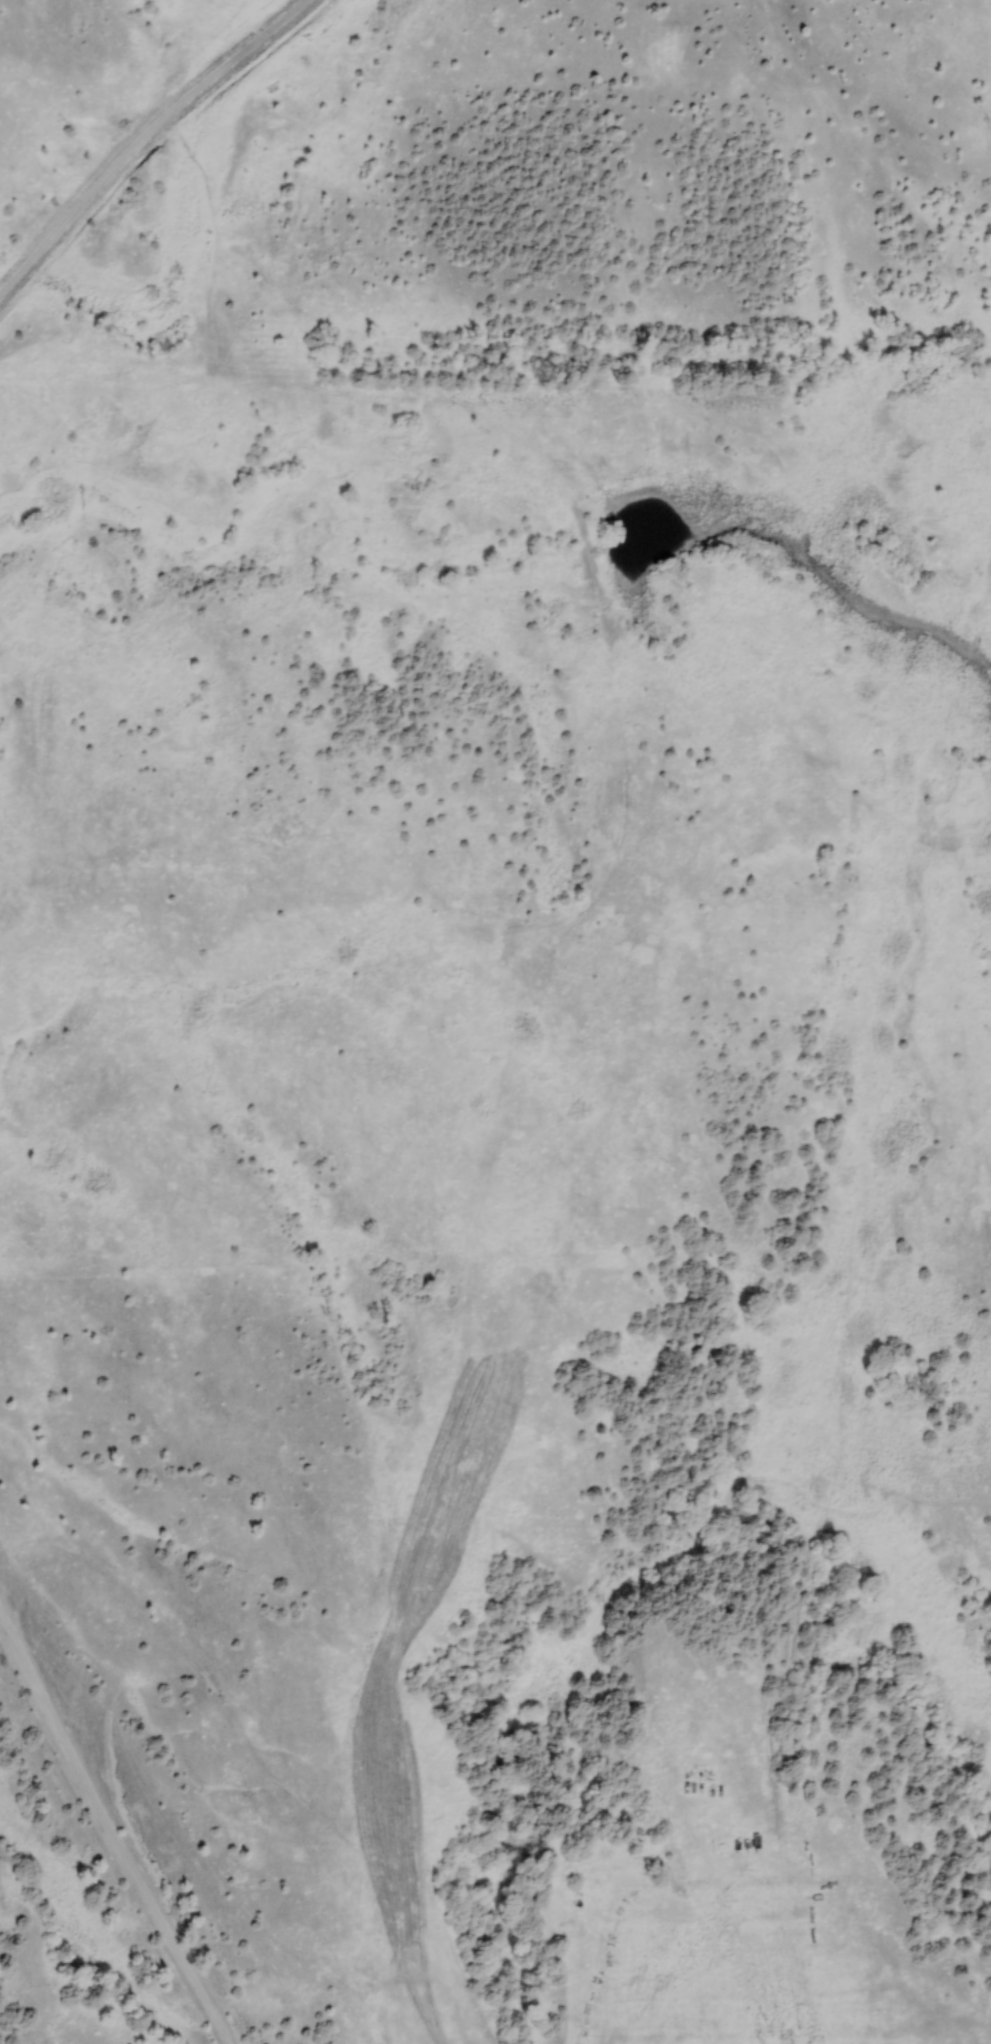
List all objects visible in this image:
road: (142, 138)
road: (110, 1826)

